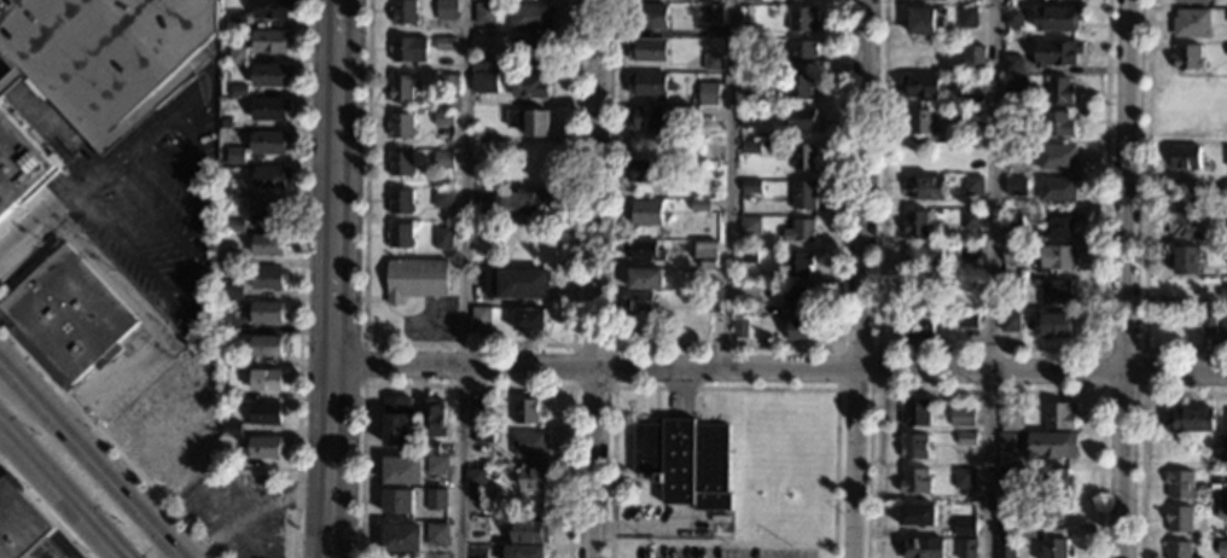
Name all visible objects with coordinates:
building: (1192, 0)
building: (273, 10)
building: (444, 10)
building: (402, 11)
building: (483, 13)
building: (710, 13)
building: (529, 16)
building: (646, 16)
building: (966, 17)
building: (1013, 18)
building: (802, 19)
building: (1057, 19)
building: (925, 21)
building: (239, 22)
building: (1191, 22)
building: (750, 31)
building: (272, 41)
building: (443, 43)
building: (646, 50)
building: (407, 51)
building: (537, 51)
building: (802, 51)
building: (1226, 51)
building: (1056, 53)
building: (109, 56)
parking garage: (109, 56)
building: (238, 56)
building: (1186, 58)
building: (971, 59)
building: (711, 62)
building: (479, 63)
building: (1011, 64)
road: (11, 76)
building: (271, 76)
building: (483, 82)
building: (446, 83)
building: (529, 85)
building: (647, 85)
building: (750, 85)
building: (1225, 85)
building: (1014, 86)
building: (799, 87)
building: (919, 87)
building: (400, 89)
building: (238, 91)
building: (1059, 91)
building: (708, 95)
building: (971, 100)
building: (271, 110)
building: (705, 116)
building: (646, 117)
building: (970, 117)
building: (1016, 117)
building: (749, 120)
building: (802, 120)
building: (443, 121)
building: (529, 122)
building: (920, 123)
building: (225, 124)
building: (1057, 124)
building: (400, 127)
building: (1223, 128)
road: (191, 132)
building: (479, 135)
building: (271, 144)
building: (751, 147)
building: (1014, 152)
road: (128, 153)
building: (235, 156)
building: (1056, 157)
building: (1185, 157)
building: (803, 158)
building: (1226, 158)
building: (443, 161)
building: (18, 163)
building: (400, 165)
building: (645, 172)
building: (271, 178)
road: (91, 180)
road: (321, 181)
road: (348, 181)
road: (727, 184)
building: (972, 186)
road: (188, 187)
building: (751, 187)
building: (1014, 187)
building: (925, 188)
building: (1058, 188)
building: (1226, 188)
building: (1182, 192)
road: (40, 194)
building: (235, 194)
building: (803, 196)
building: (442, 198)
building: (400, 202)
building: (527, 202)
road: (59, 203)
building: (698, 205)
building: (268, 211)
building: (645, 213)
road: (1145, 216)
building: (1012, 219)
building: (970, 221)
building: (915, 225)
building: (1188, 225)
building: (1056, 226)
building: (235, 227)
building: (750, 227)
building: (797, 229)
road: (23, 237)
building: (399, 237)
building: (442, 239)
building: (269, 245)
building: (479, 250)
building: (642, 251)
building: (969, 252)
building: (227, 254)
building: (1012, 254)
building: (706, 255)
road: (30, 257)
building: (748, 257)
building: (920, 257)
building: (1053, 258)
building: (1186, 262)
building: (798, 265)
road: (297, 278)
road: (595, 278)
road: (994, 278)
road: (1124, 278)
building: (269, 279)
building: (417, 279)
road: (461, 279)
building: (645, 279)
road: (859, 279)
building: (516, 284)
building: (1012, 286)
building: (232, 291)
building: (748, 291)
building: (969, 292)
building: (1053, 292)
road: (188, 293)
building: (1223, 295)
road: (128, 298)
building: (796, 298)
building: (638, 301)
road: (383, 302)
building: (709, 302)
building: (267, 313)
road: (415, 316)
building: (65, 318)
parking lot: (430, 320)
building: (528, 320)
building: (967, 321)
building: (478, 322)
building: (1010, 322)
building: (1053, 325)
building: (1208, 325)
building: (918, 326)
building: (220, 329)
building: (740, 329)
building: (799, 330)
building: (1223, 330)
road: (428, 332)
road: (350, 342)
road: (469, 343)
road: (571, 344)
building: (267, 347)
road: (727, 347)
road: (878, 348)
road: (992, 348)
road: (1142, 350)
road: (774, 368)
road: (10, 370)
road: (110, 377)
building: (264, 382)
road: (465, 385)
road: (723, 388)
road: (989, 390)
road: (679, 393)
building: (231, 396)
flagpole: (628, 402)
building: (915, 411)
building: (524, 412)
building: (264, 414)
building: (1059, 415)
building: (476, 417)
building: (961, 417)
building: (431, 418)
building: (1011, 419)
building: (1225, 419)
building: (1190, 420)
building: (396, 422)
road: (319, 428)
building: (165, 429)
building: (233, 429)
road: (1141, 432)
road: (2, 437)
building: (482, 437)
building: (965, 438)
building: (1005, 441)
road: (107, 443)
building: (528, 444)
building: (912, 444)
building: (1052, 444)
building: (428, 448)
building: (1220, 448)
building: (263, 449)
road: (92, 458)
road: (343, 461)
building: (685, 461)
building: (436, 465)
building: (401, 472)
building: (1006, 475)
building: (473, 477)
building: (963, 477)
building: (536, 479)
building: (1053, 479)
building: (914, 481)
building: (1179, 484)
building: (511, 486)
road: (59, 493)
building: (435, 501)
building: (396, 502)
building: (1221, 507)
road: (42, 511)
building: (915, 515)
road: (249, 516)
building: (1005, 516)
building: (1179, 521)
road: (314, 524)
building: (22, 527)
road: (638, 527)
building: (964, 528)
building: (1025, 531)
building: (529, 533)
building: (436, 534)
road: (155, 537)
building: (401, 537)
road: (163, 546)
road: (175, 546)
building: (965, 547)
building: (920, 548)
building: (1004, 548)
building: (1057, 548)
building: (1221, 548)
building: (1175, 550)
parking lot: (721, 551)
building: (523, 552)

